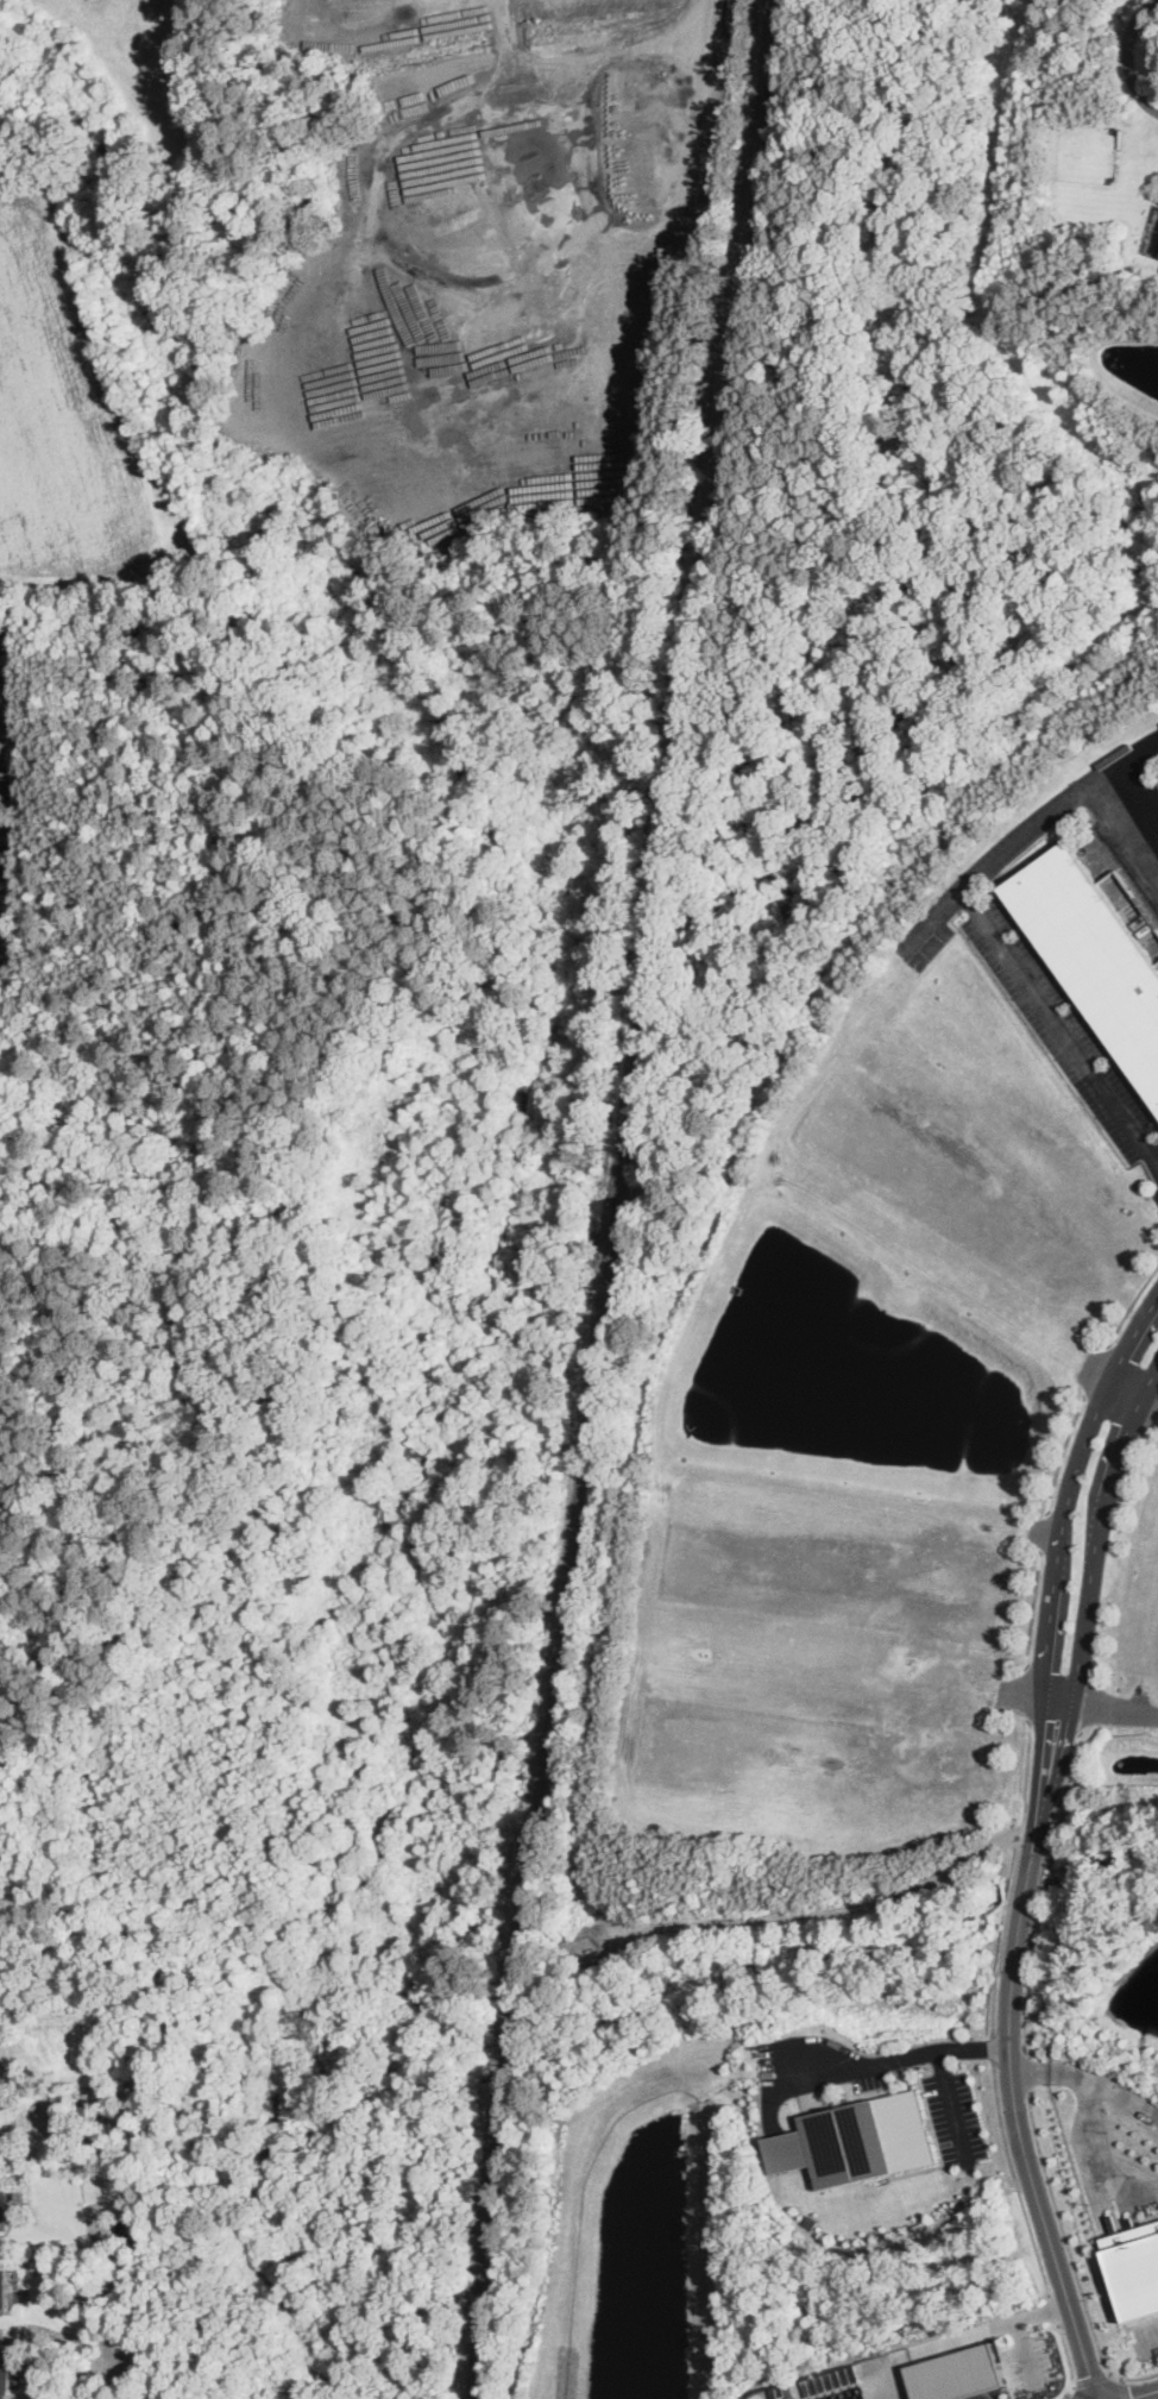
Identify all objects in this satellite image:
road: (663, 27)
road: (1127, 56)
railway: (698, 597)
crop: (113, 635)
road: (1050, 812)
road: (1132, 814)
building: (1094, 950)
road: (1074, 1003)
road: (1064, 1031)
railway: (615, 1226)
road: (1129, 1307)
road: (1125, 1388)
road: (1064, 1450)
road: (1068, 1490)
road: (1097, 1532)
road: (1033, 1609)
road: (1026, 1689)
road: (1107, 1708)
railway: (530, 1826)
road: (1017, 1874)
road: (1043, 1885)
road: (995, 2046)
road: (1013, 2055)
road: (899, 2058)
road: (1028, 2073)
road: (1089, 2078)
road: (951, 2105)
building: (858, 2140)
road: (1097, 2158)
road: (1014, 2177)
building: (2, 2213)
road: (1071, 2254)
building: (1138, 2276)
building: (5, 2287)
road: (1055, 2309)
road: (981, 2330)
road: (1147, 2345)
road: (1026, 2353)
road: (1068, 2355)
building: (7, 2368)
building: (957, 2373)
road: (1093, 2380)
road: (1122, 2387)
road: (1065, 2392)
road: (1144, 2394)
road: (1066, 2395)

